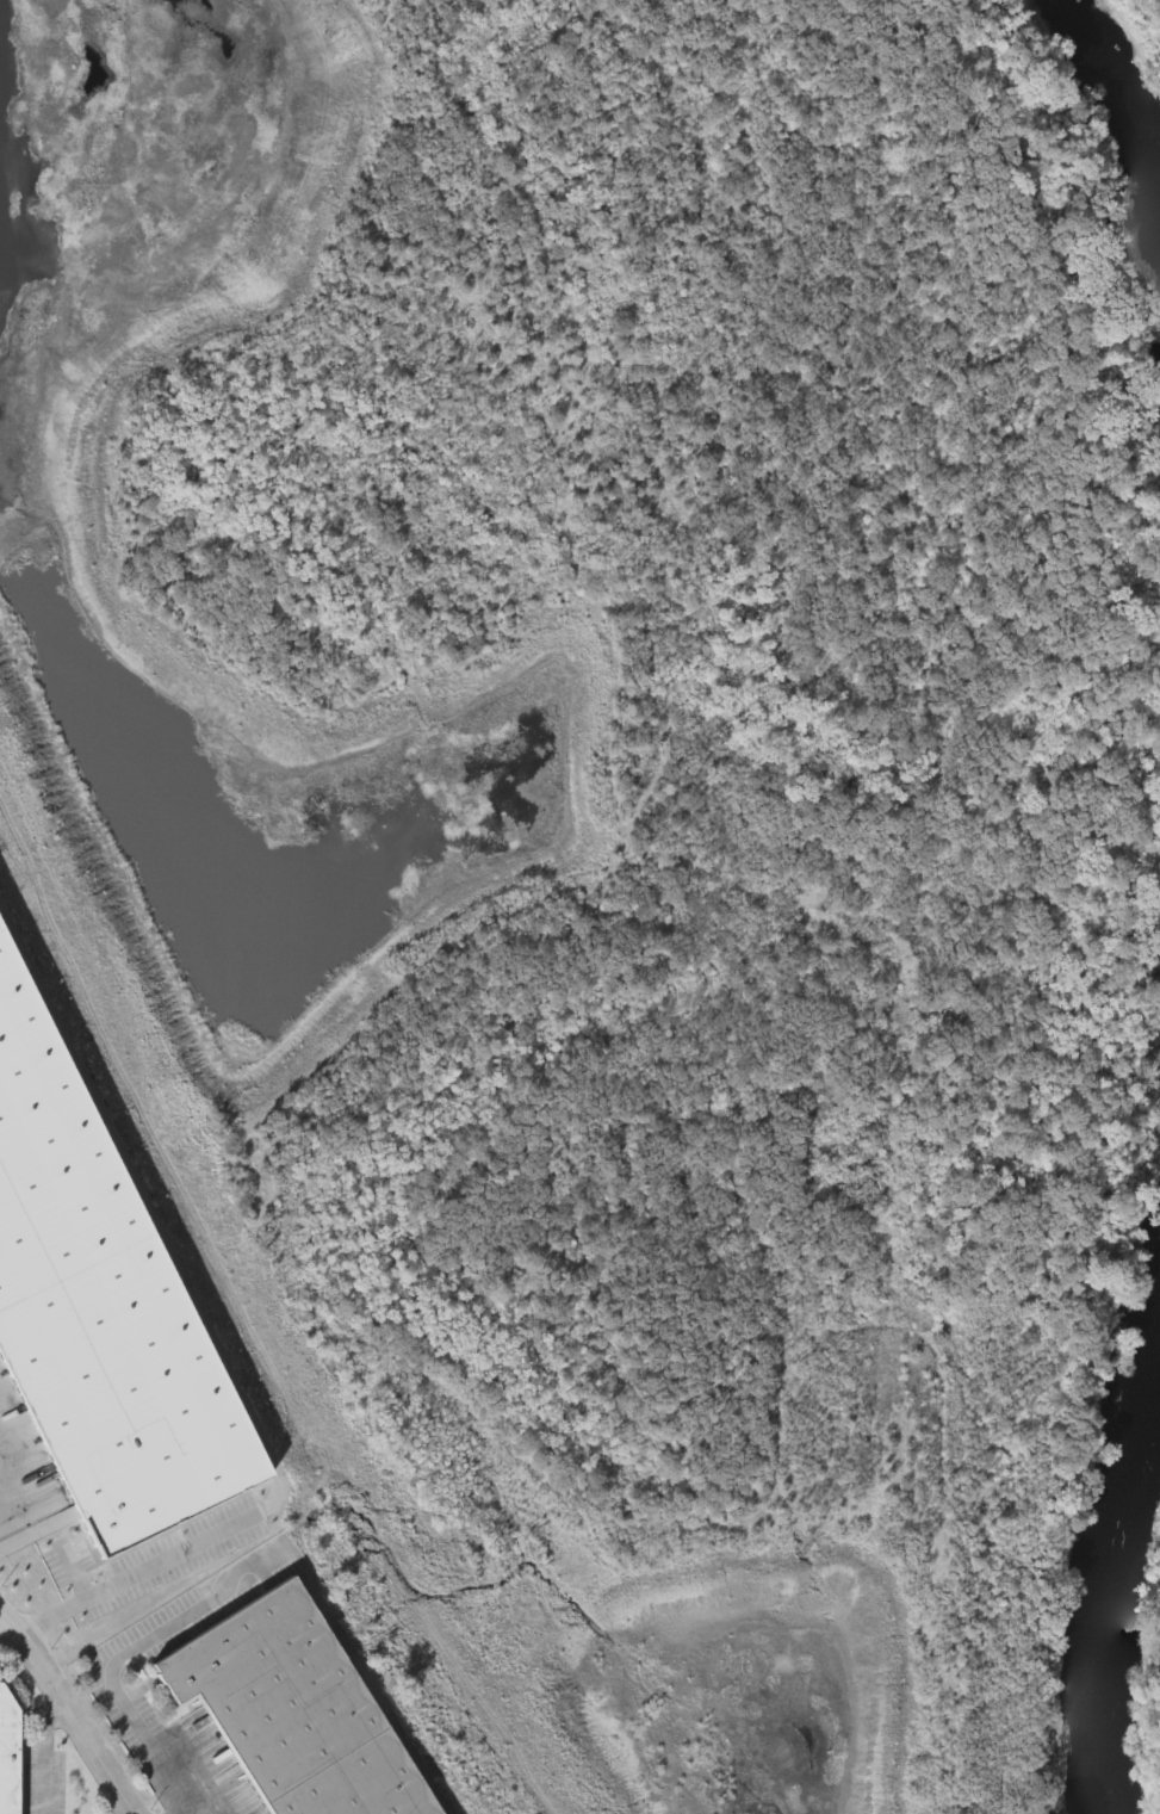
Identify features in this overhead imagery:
river: (1124, 117)
building: (94, 1313)
road: (206, 1348)
road: (7, 1518)
river: (1108, 1571)
road: (7, 1634)
road: (135, 1651)
building: (293, 1710)
road: (67, 1713)
building: (12, 1754)
road: (45, 1758)
road: (199, 1798)
road: (130, 1813)

